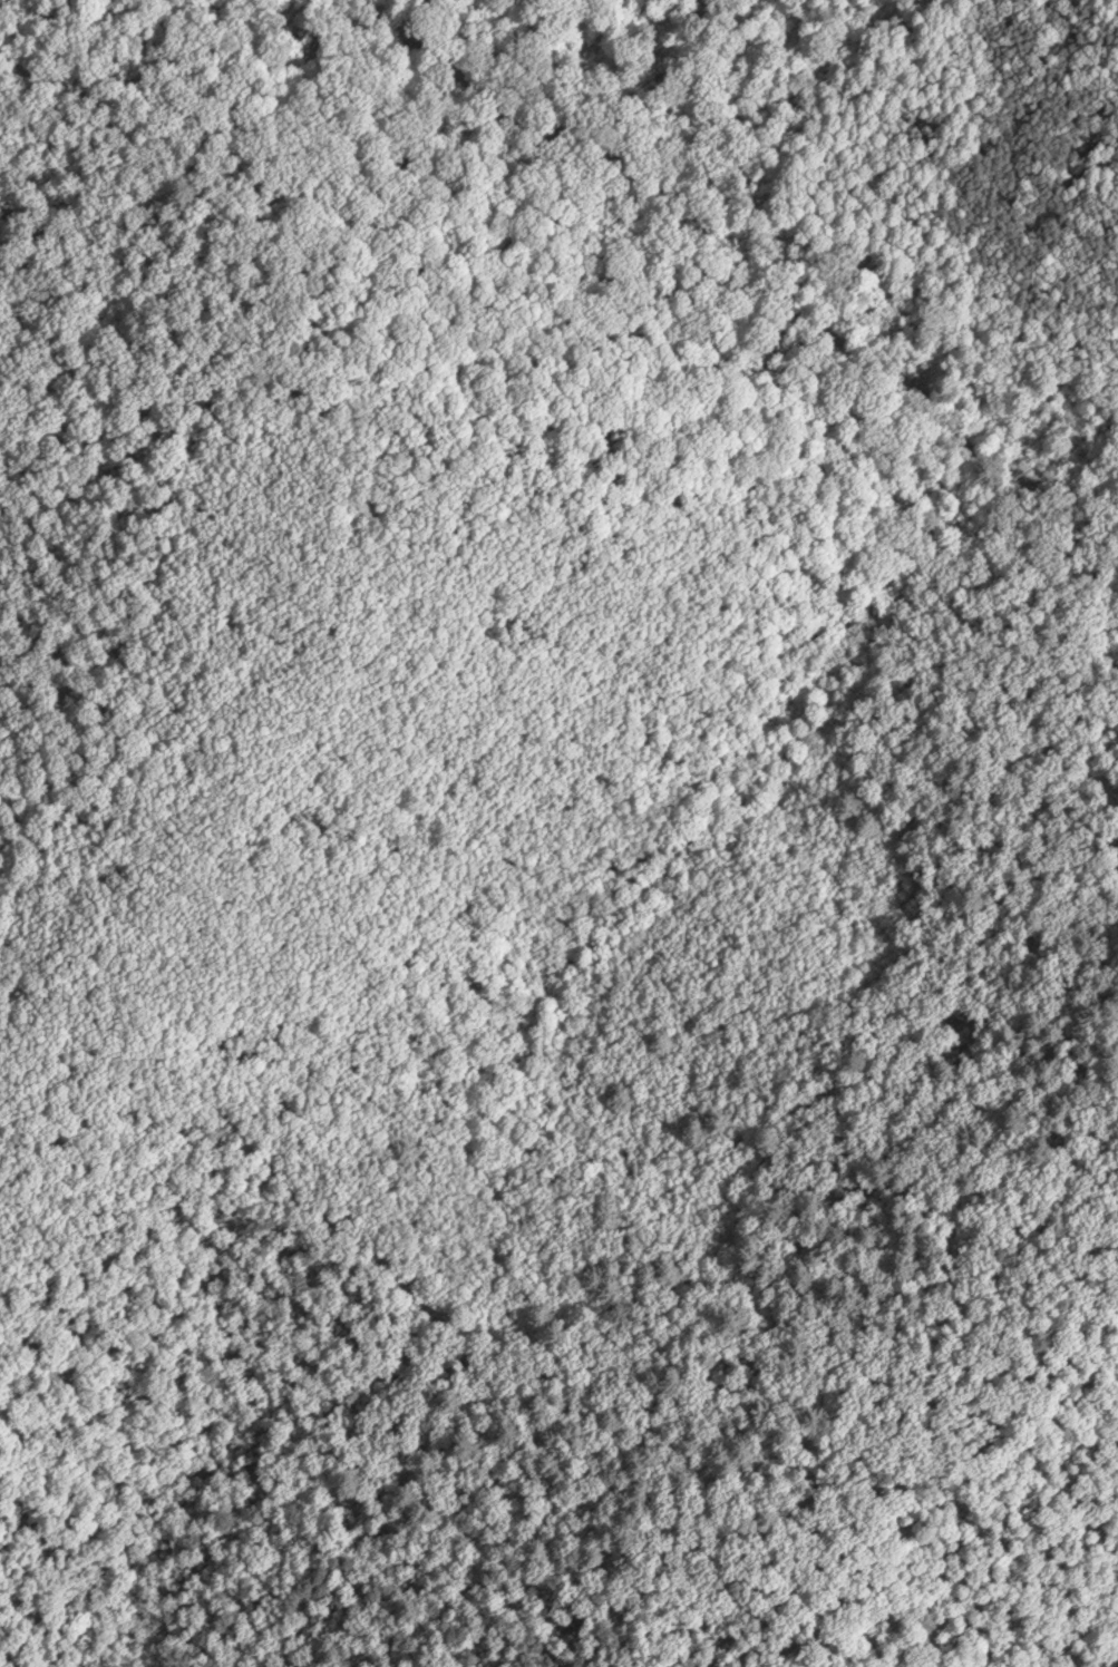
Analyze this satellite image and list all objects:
road: (721, 280)

